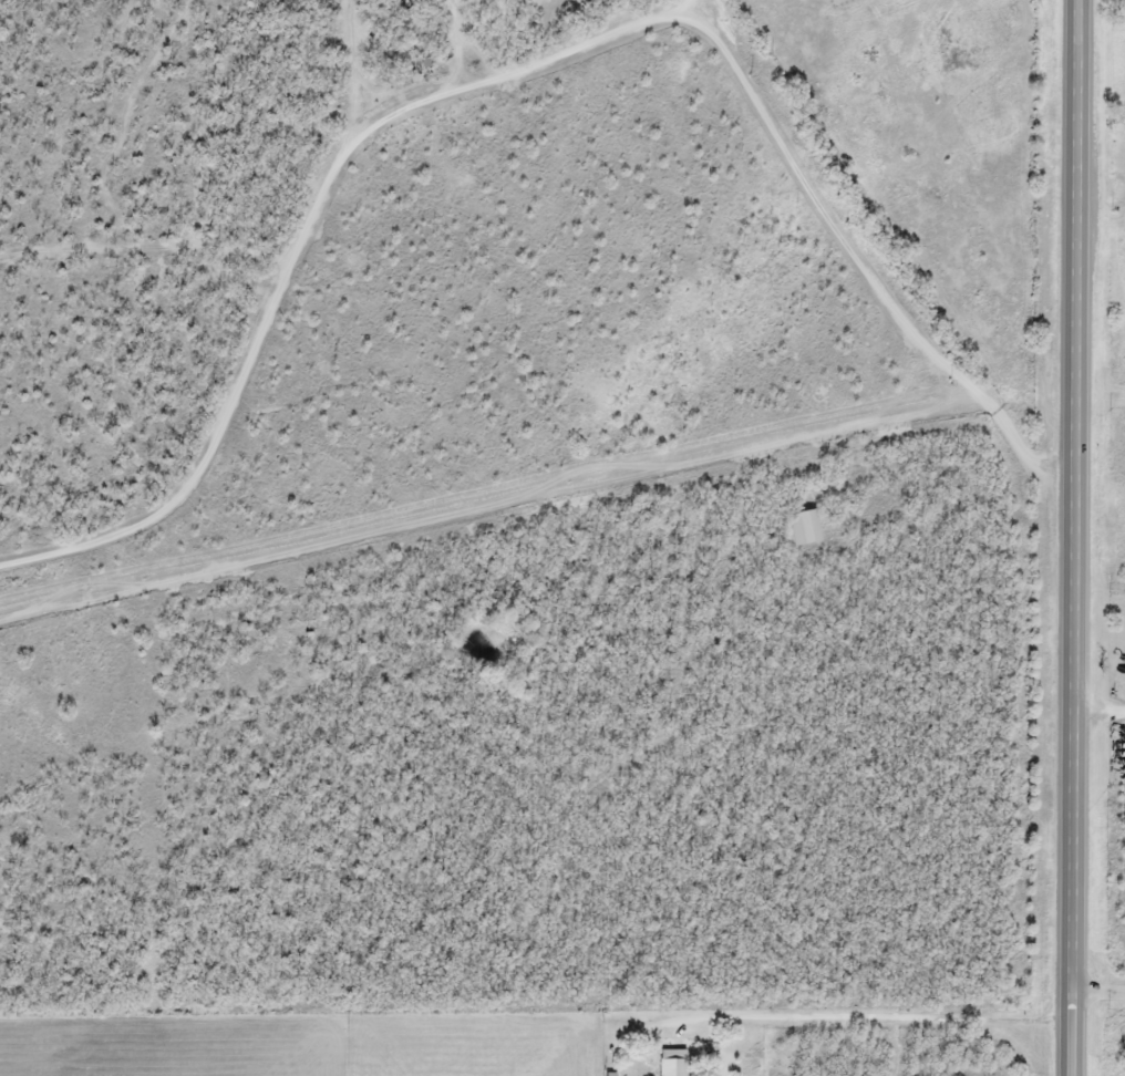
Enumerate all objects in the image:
road: (303, 248)
road: (863, 267)
building: (803, 529)
road: (1088, 538)
road: (1104, 985)
road: (869, 1024)
building: (670, 1067)

